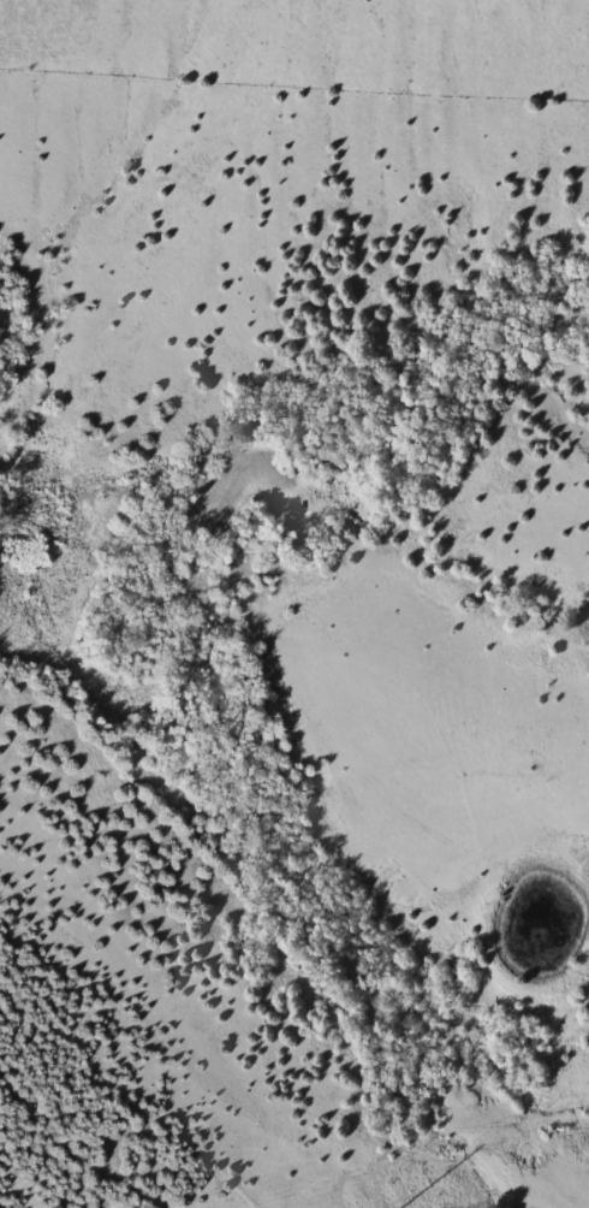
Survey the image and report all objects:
power tower: (379, 1192)

